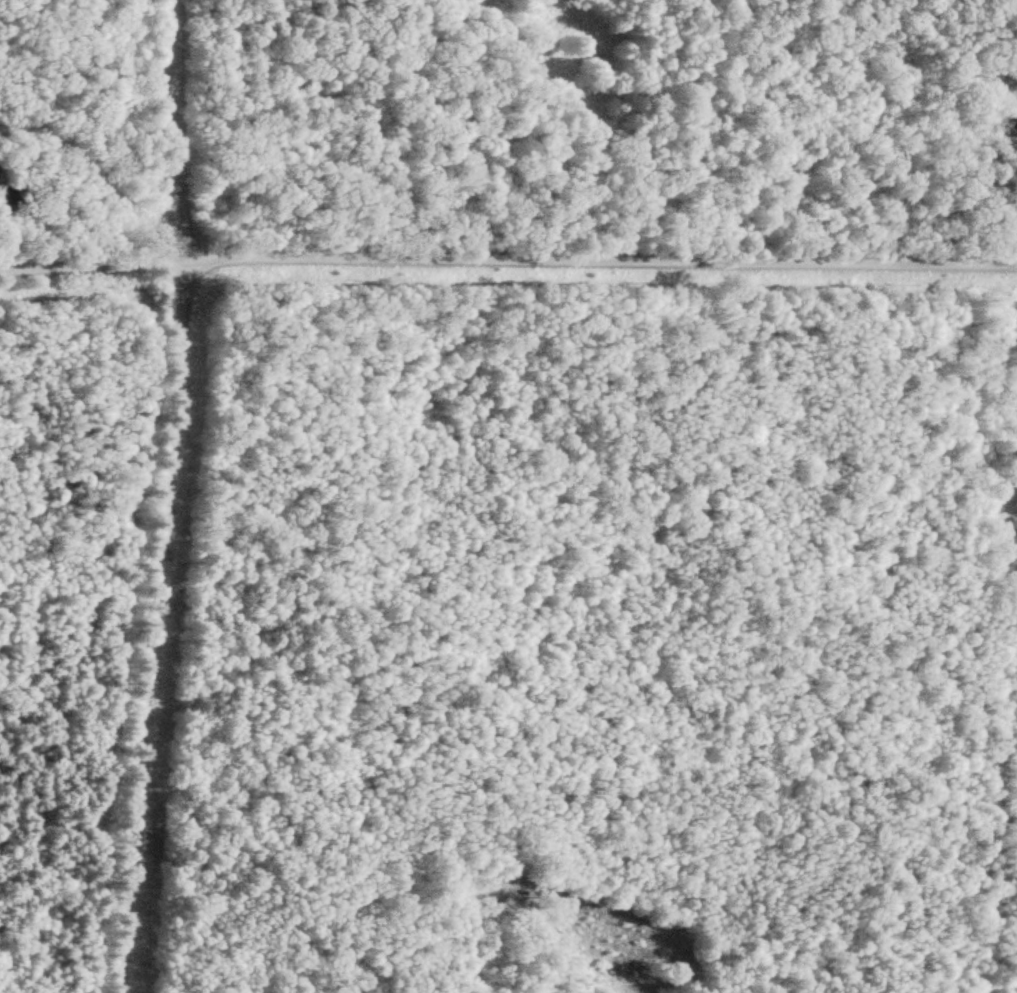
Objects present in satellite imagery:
road: (997, 187)
road: (508, 254)
road: (164, 497)

